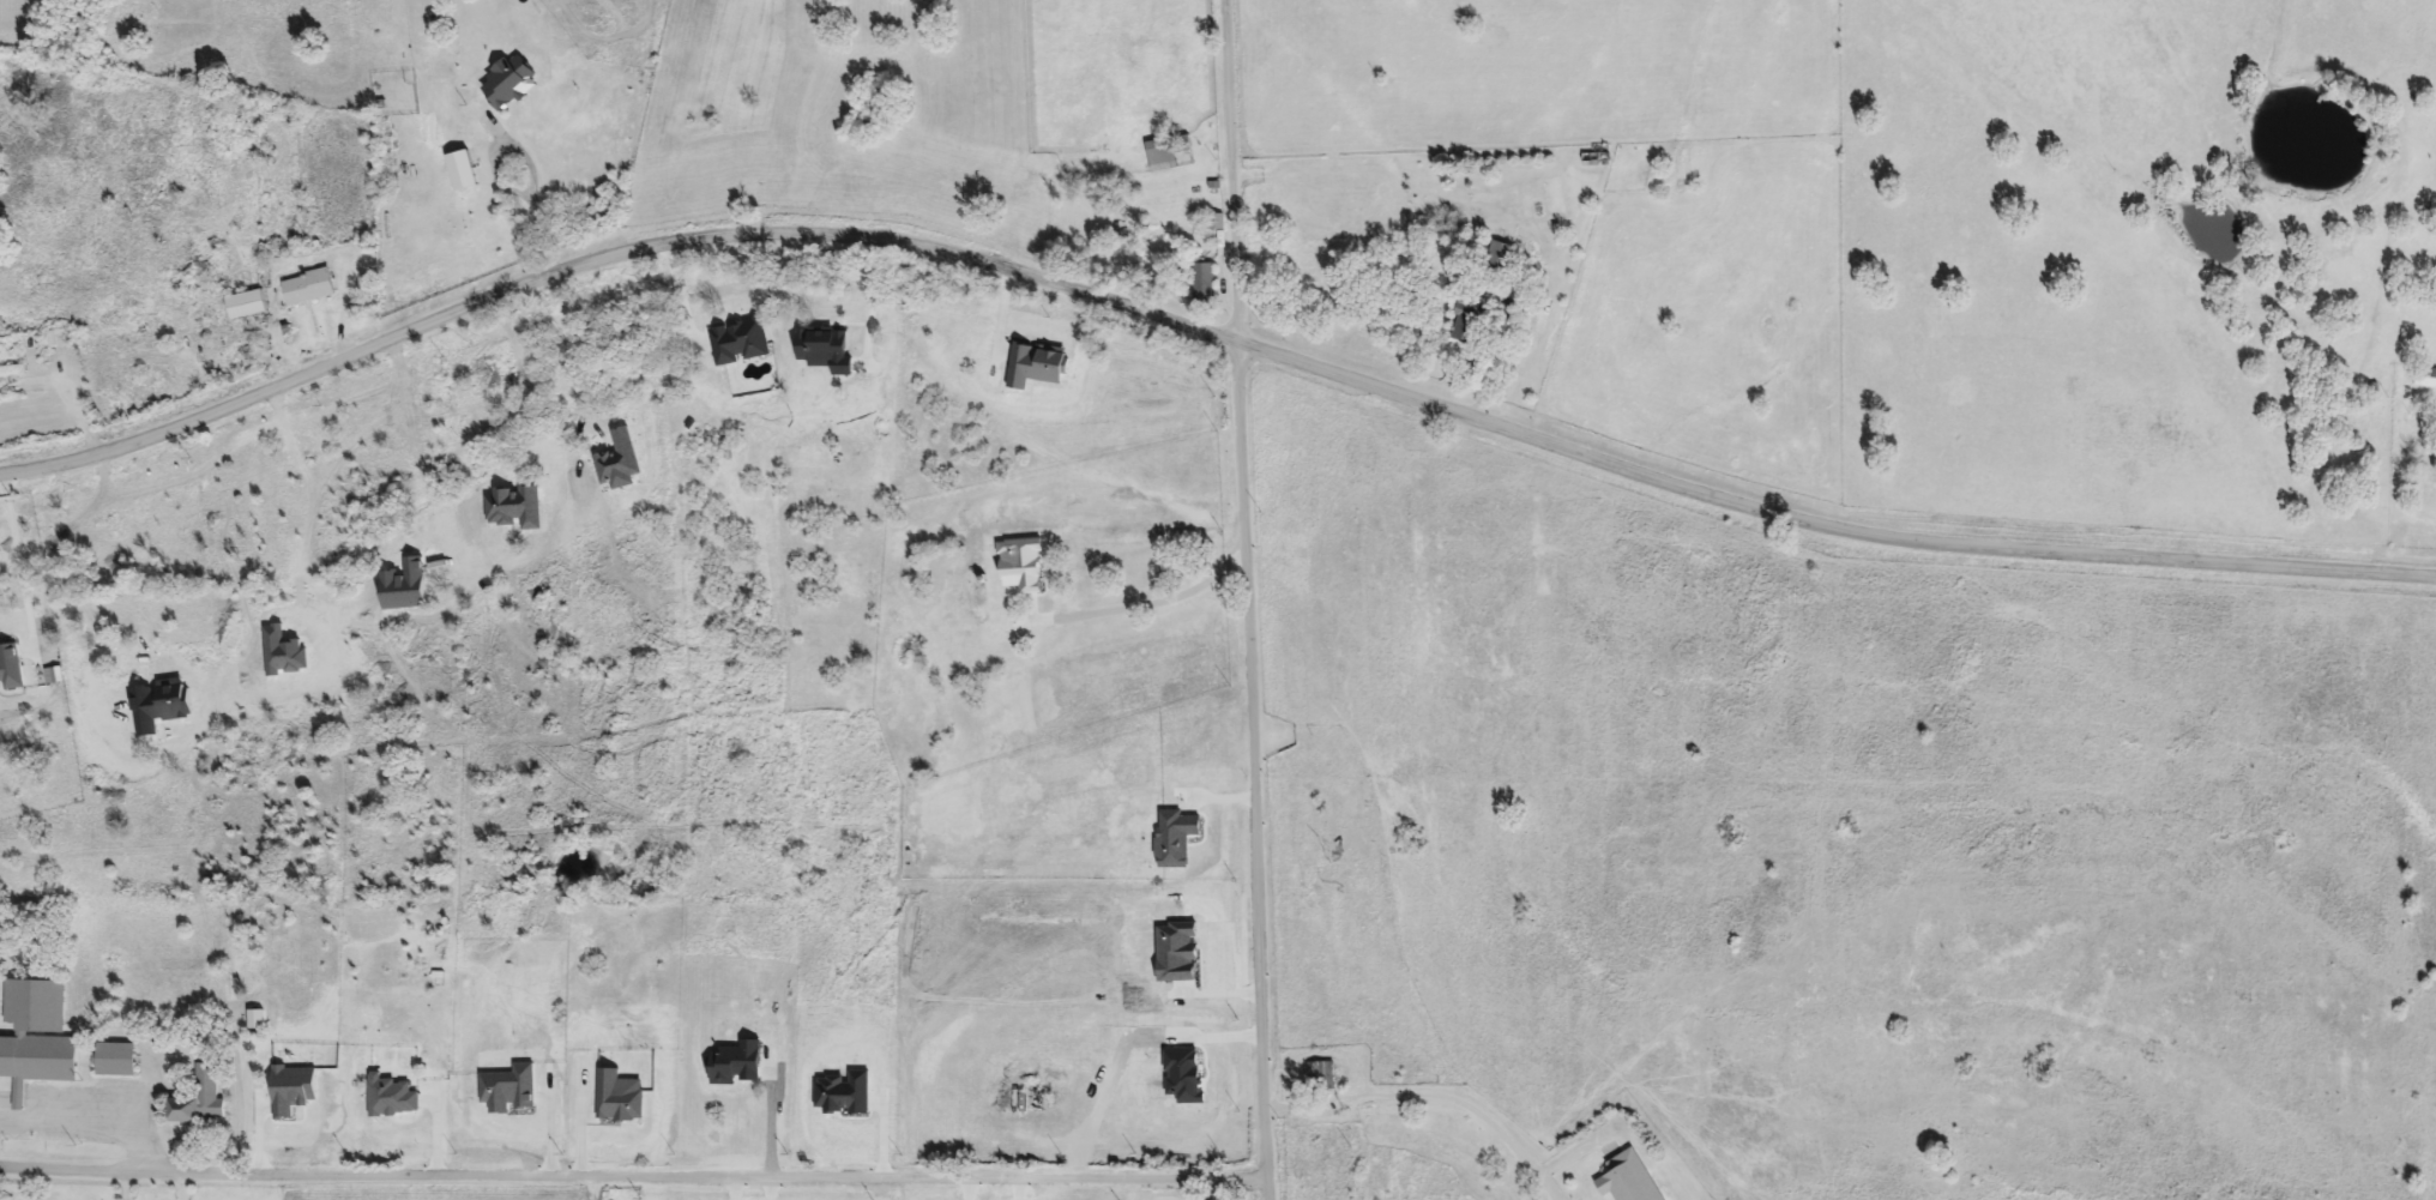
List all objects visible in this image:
building: (1166, 153)
road: (1230, 174)
road: (469, 204)
building: (1500, 259)
building: (309, 288)
building: (1204, 288)
building: (367, 304)
building: (247, 306)
building: (1467, 319)
building: (60, 338)
road: (1207, 338)
building: (13, 373)
building: (2426, 379)
road: (17, 566)
building: (1015, 589)
road: (1154, 596)
building: (917, 675)
road: (1258, 773)
building: (2, 930)
building: (41, 1038)
building: (120, 1061)
building: (1322, 1078)
road: (1437, 1092)
building: (203, 1099)
road: (86, 1127)
road: (637, 1175)
building: (1629, 1178)

